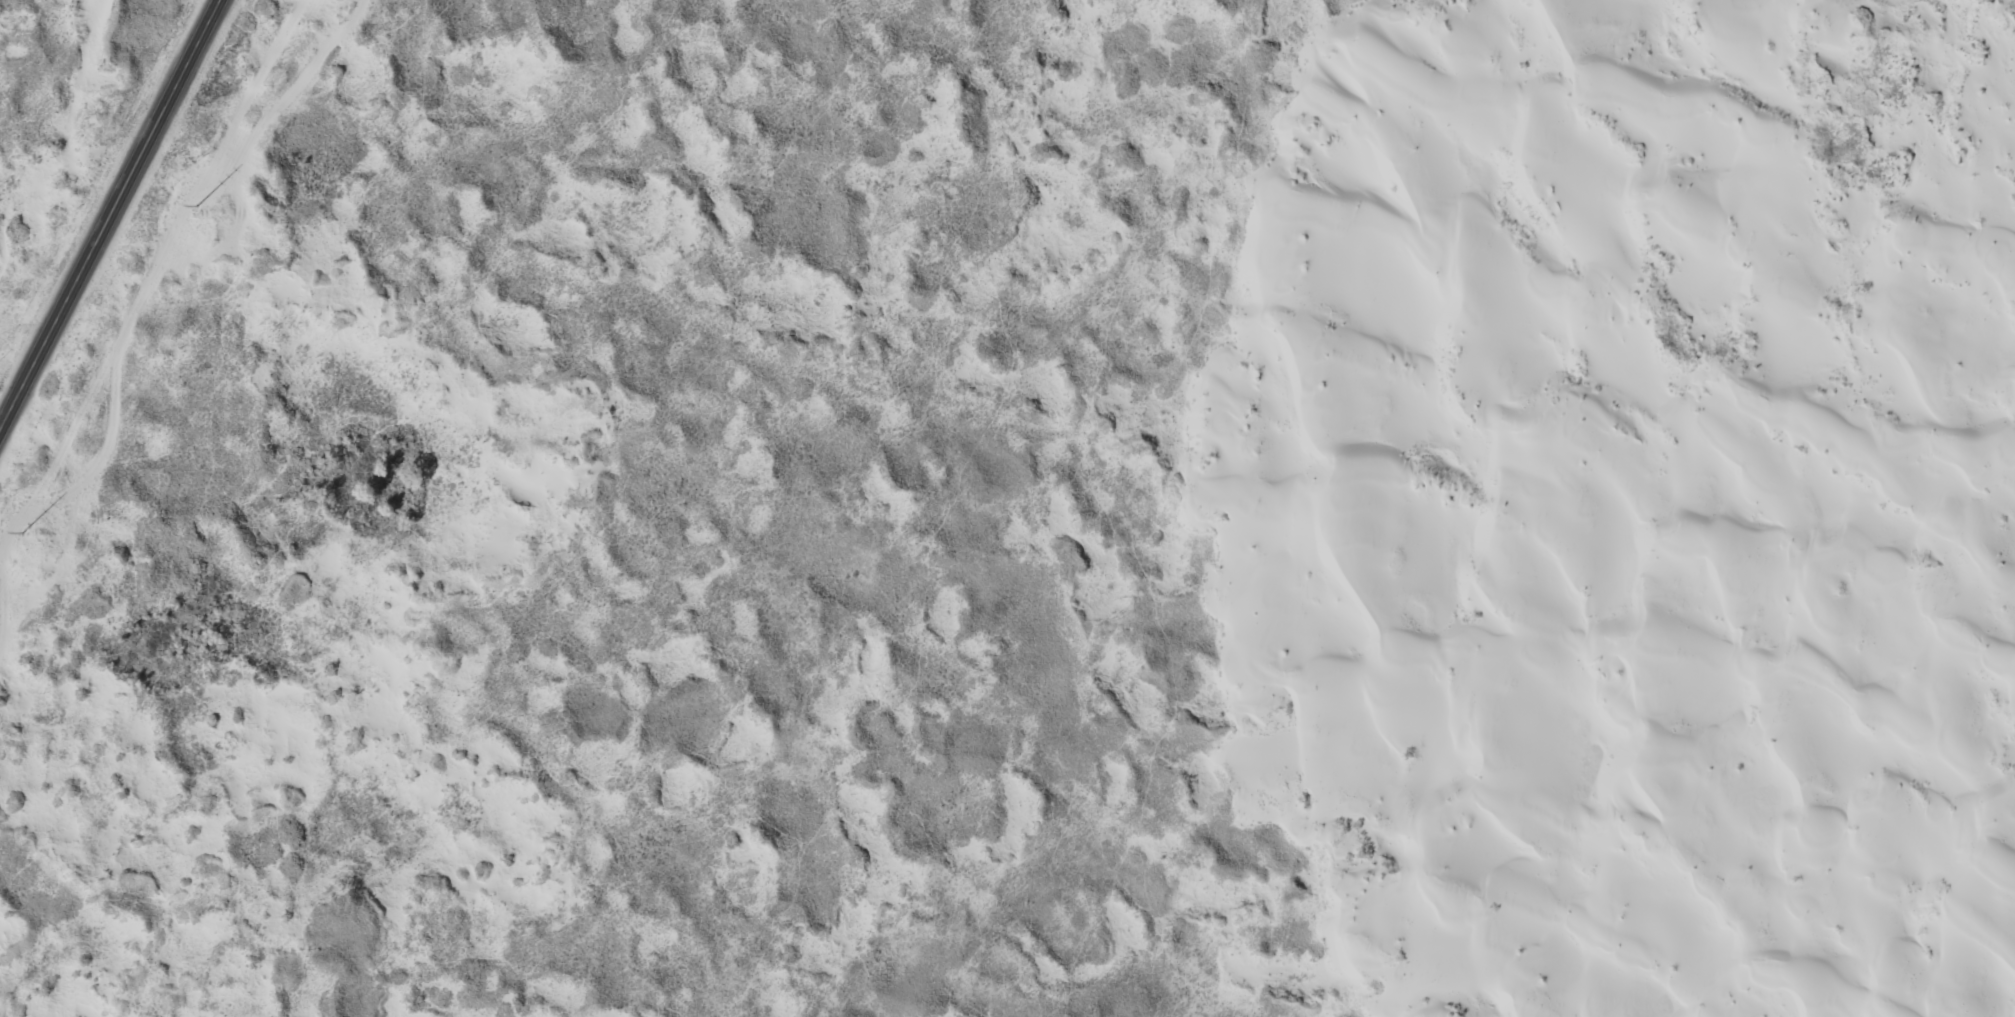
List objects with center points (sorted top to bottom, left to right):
road: (112, 215)
power tower: (211, 226)
power tower: (34, 555)

